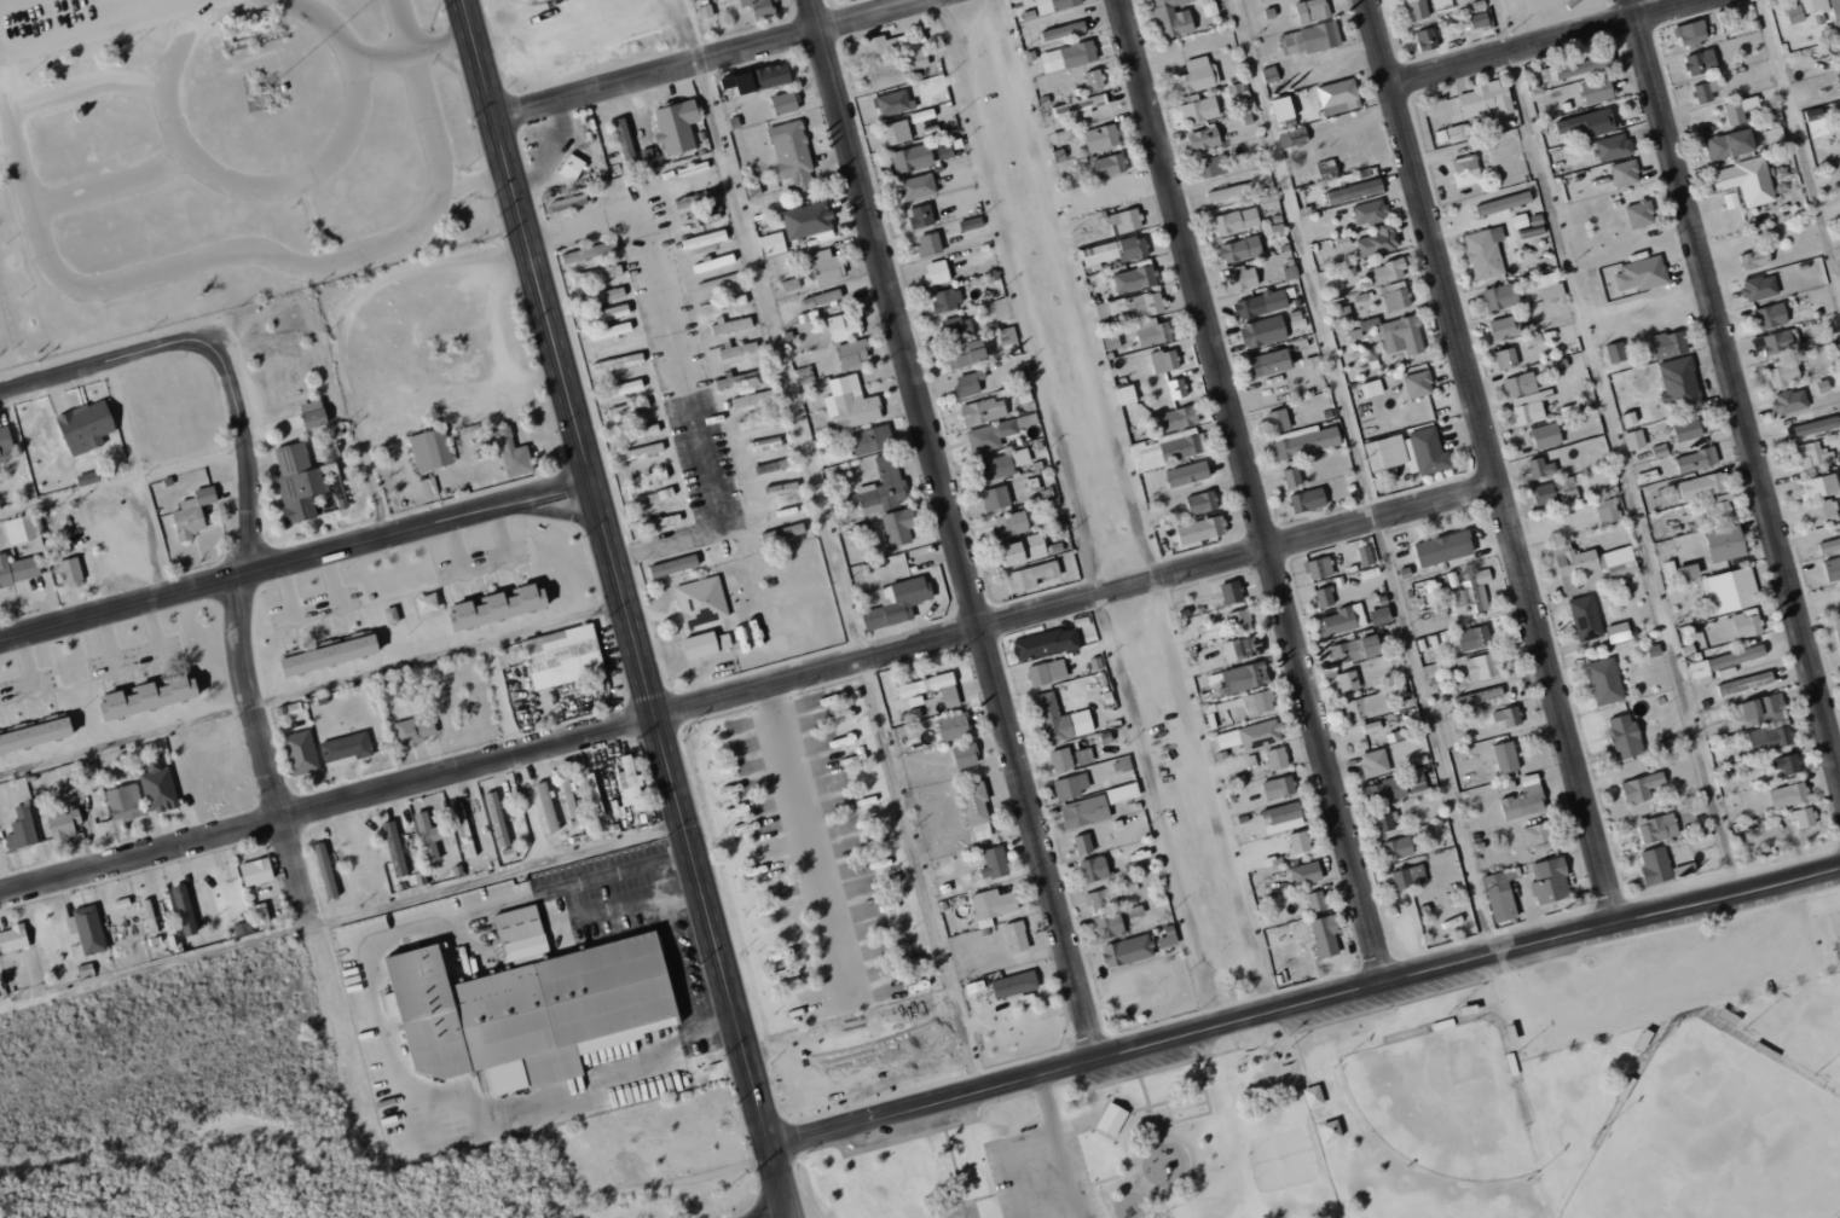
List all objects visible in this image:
road: (274, 1)
building: (1054, 5)
building: (1442, 5)
building: (758, 7)
building: (1417, 10)
building: (1312, 11)
building: (1836, 11)
road: (201, 13)
building: (1795, 16)
building: (1173, 17)
building: (1475, 21)
road: (104, 29)
building: (1063, 30)
building: (1690, 34)
building: (1309, 39)
building: (1425, 40)
road: (1550, 42)
building: (884, 45)
road: (417, 50)
building: (1067, 56)
building: (916, 58)
road: (717, 59)
building: (1700, 60)
building: (1573, 68)
building: (886, 72)
building: (1197, 75)
building: (758, 79)
building: (1094, 79)
building: (1838, 80)
road: (89, 85)
building: (1597, 89)
building: (1702, 92)
building: (1337, 95)
building: (1486, 99)
building: (785, 101)
road: (174, 103)
building: (893, 103)
building: (1080, 105)
building: (1199, 109)
building: (1283, 109)
building: (1738, 109)
building: (1587, 122)
building: (676, 126)
building: (897, 132)
building: (1451, 134)
building: (1060, 135)
building: (1101, 137)
building: (1775, 137)
building: (1292, 138)
building: (625, 139)
building: (1204, 139)
road: (1800, 143)
building: (1729, 144)
building: (1613, 146)
building: (793, 155)
building: (912, 157)
building: (1109, 166)
building: (1211, 166)
building: (572, 167)
building: (1466, 169)
building: (1625, 173)
building: (1746, 180)
road: (115, 184)
building: (918, 186)
building: (1354, 191)
building: (1116, 192)
building: (1227, 192)
building: (1269, 201)
building: (568, 202)
building: (1503, 203)
building: (1370, 211)
building: (1639, 213)
building: (920, 215)
building: (806, 220)
building: (1126, 220)
building: (1236, 220)
building: (971, 224)
building: (705, 239)
building: (1378, 240)
building: (773, 243)
building: (928, 244)
building: (1240, 249)
building: (1113, 251)
building: (583, 253)
building: (1485, 253)
building: (1755, 259)
building: (713, 262)
road: (204, 263)
building: (826, 266)
building: (936, 272)
building: (1385, 272)
building: (597, 273)
building: (1642, 273)
building: (1134, 278)
building: (1243, 278)
building: (717, 282)
building: (791, 284)
building: (1549, 286)
building: (1759, 288)
road: (1071, 290)
building: (600, 296)
building: (827, 296)
building: (1500, 296)
building: (1396, 298)
building: (945, 300)
building: (1262, 302)
building: (725, 303)
building: (1145, 303)
building: (1111, 307)
building: (606, 314)
building: (1771, 315)
building: (1106, 321)
building: (729, 325)
building: (844, 325)
building: (957, 326)
road: (343, 327)
building: (1503, 327)
building: (611, 330)
building: (1151, 331)
building: (1262, 331)
building: (1402, 335)
building: (1777, 342)
building: (1668, 343)
building: (737, 349)
building: (1615, 352)
building: (852, 353)
building: (966, 354)
building: (1505, 358)
building: (1164, 360)
road: (118, 361)
building: (1269, 361)
building: (618, 362)
road: (675, 365)
building: (1783, 372)
building: (741, 381)
building: (1678, 382)
building: (1418, 383)
building: (1828, 383)
building: (967, 384)
building: (1520, 384)
road: (1735, 384)
building: (1176, 388)
building: (619, 389)
building: (1126, 394)
building: (752, 399)
building: (1789, 400)
building: (850, 404)
building: (1529, 406)
building: (627, 408)
building: (983, 411)
building: (313, 413)
building: (1178, 418)
building: (1278, 419)
building: (757, 422)
building: (1815, 425)
building: (86, 427)
building: (1688, 429)
building: (638, 433)
building: (995, 434)
building: (1545, 435)
building: (870, 439)
building: (1633, 439)
building: (1303, 441)
building: (764, 443)
building: (6, 445)
road: (1616, 445)
building: (1164, 448)
building: (430, 449)
building: (509, 451)
building: (641, 451)
building: (1424, 452)
building: (1378, 454)
building: (1812, 454)
building: (834, 456)
building: (1696, 459)
road: (1491, 460)
building: (1000, 465)
building: (1540, 466)
building: (1187, 474)
building: (1291, 476)
building: (648, 477)
road: (1361, 477)
road: (126, 482)
building: (1702, 485)
building: (1818, 485)
building: (883, 486)
building: (1569, 489)
road: (1250, 492)
building: (653, 497)
building: (995, 498)
building: (1307, 500)
building: (1200, 503)
building: (1718, 509)
building: (1608, 510)
building: (1822, 511)
building: (192, 512)
road: (1076, 514)
road: (550, 515)
building: (1009, 523)
building: (898, 526)
building: (22, 528)
road: (953, 529)
building: (1200, 529)
building: (783, 532)
building: (1689, 538)
building: (1725, 543)
building: (1829, 545)
road: (829, 546)
building: (1443, 547)
building: (1023, 550)
building: (1365, 555)
road: (299, 563)
building: (1591, 563)
building: (673, 565)
building: (1832, 567)
building: (1318, 568)
building: (18, 569)
building: (70, 572)
building: (1678, 572)
building: (1032, 575)
building: (1231, 591)
building: (1730, 591)
building: (1472, 593)
building: (1323, 597)
building: (701, 601)
building: (897, 602)
building: (498, 605)
road: (631, 608)
building: (1379, 615)
building: (1586, 617)
building: (1343, 619)
building: (1239, 620)
building: (1743, 623)
building: (1838, 631)
building: (1618, 632)
building: (1474, 637)
building: (1046, 643)
building: (1453, 643)
building: (1250, 645)
building: (1355, 649)
building: (329, 655)
building: (562, 656)
building: (1736, 656)
building: (1482, 666)
building: (1700, 671)
building: (1047, 672)
building: (1348, 680)
building: (1604, 681)
building: (1744, 683)
building: (933, 688)
building: (1395, 689)
road: (748, 692)
building: (150, 696)
building: (1479, 696)
building: (1259, 702)
building: (1367, 706)
building: (1508, 715)
building: (1060, 719)
building: (1765, 723)
building: (954, 726)
building: (415, 730)
building: (35, 735)
building: (1251, 735)
building: (1625, 736)
building: (347, 747)
building: (301, 752)
building: (965, 755)
building: (1083, 755)
building: (1505, 756)
building: (1275, 758)
building: (1061, 759)
building: (1375, 762)
building: (1787, 764)
road: (273, 775)
building: (1416, 782)
building: (629, 783)
building: (157, 785)
building: (1070, 785)
building: (1278, 787)
building: (1641, 787)
building: (1384, 790)
building: (1122, 793)
building: (594, 794)
building: (1788, 794)
road: (1209, 796)
building: (569, 799)
building: (1524, 799)
building: (125, 802)
building: (546, 806)
building: (976, 810)
building: (1084, 811)
building: (1804, 817)
building: (497, 818)
building: (1281, 818)
building: (1387, 820)
building: (64, 824)
building: (1657, 828)
building: (22, 829)
building: (463, 830)
building: (1535, 834)
building: (428, 835)
building: (1298, 842)
building: (1082, 843)
building: (394, 848)
building: (1398, 848)
building: (994, 863)
building: (1655, 865)
building: (1094, 869)
building: (325, 870)
building: (256, 871)
building: (1304, 874)
building: (1408, 876)
building: (1550, 881)
building: (1500, 895)
building: (1100, 899)
building: (1315, 900)
building: (991, 905)
building: (184, 910)
building: (260, 913)
building: (149, 916)
building: (1109, 924)
building: (87, 929)
building: (521, 934)
building: (1016, 936)
building: (1167, 936)
building: (1325, 936)
building: (13, 939)
building: (1127, 950)
road: (156, 967)
building: (1014, 984)
road: (1304, 1004)
building: (528, 1011)
park: (1443, 1102)
park: (1439, 1104)
park: (299, 1118)
building: (1112, 1119)
road: (241, 1132)
park: (1713, 1137)
road: (1061, 1147)
road: (702, 1173)

